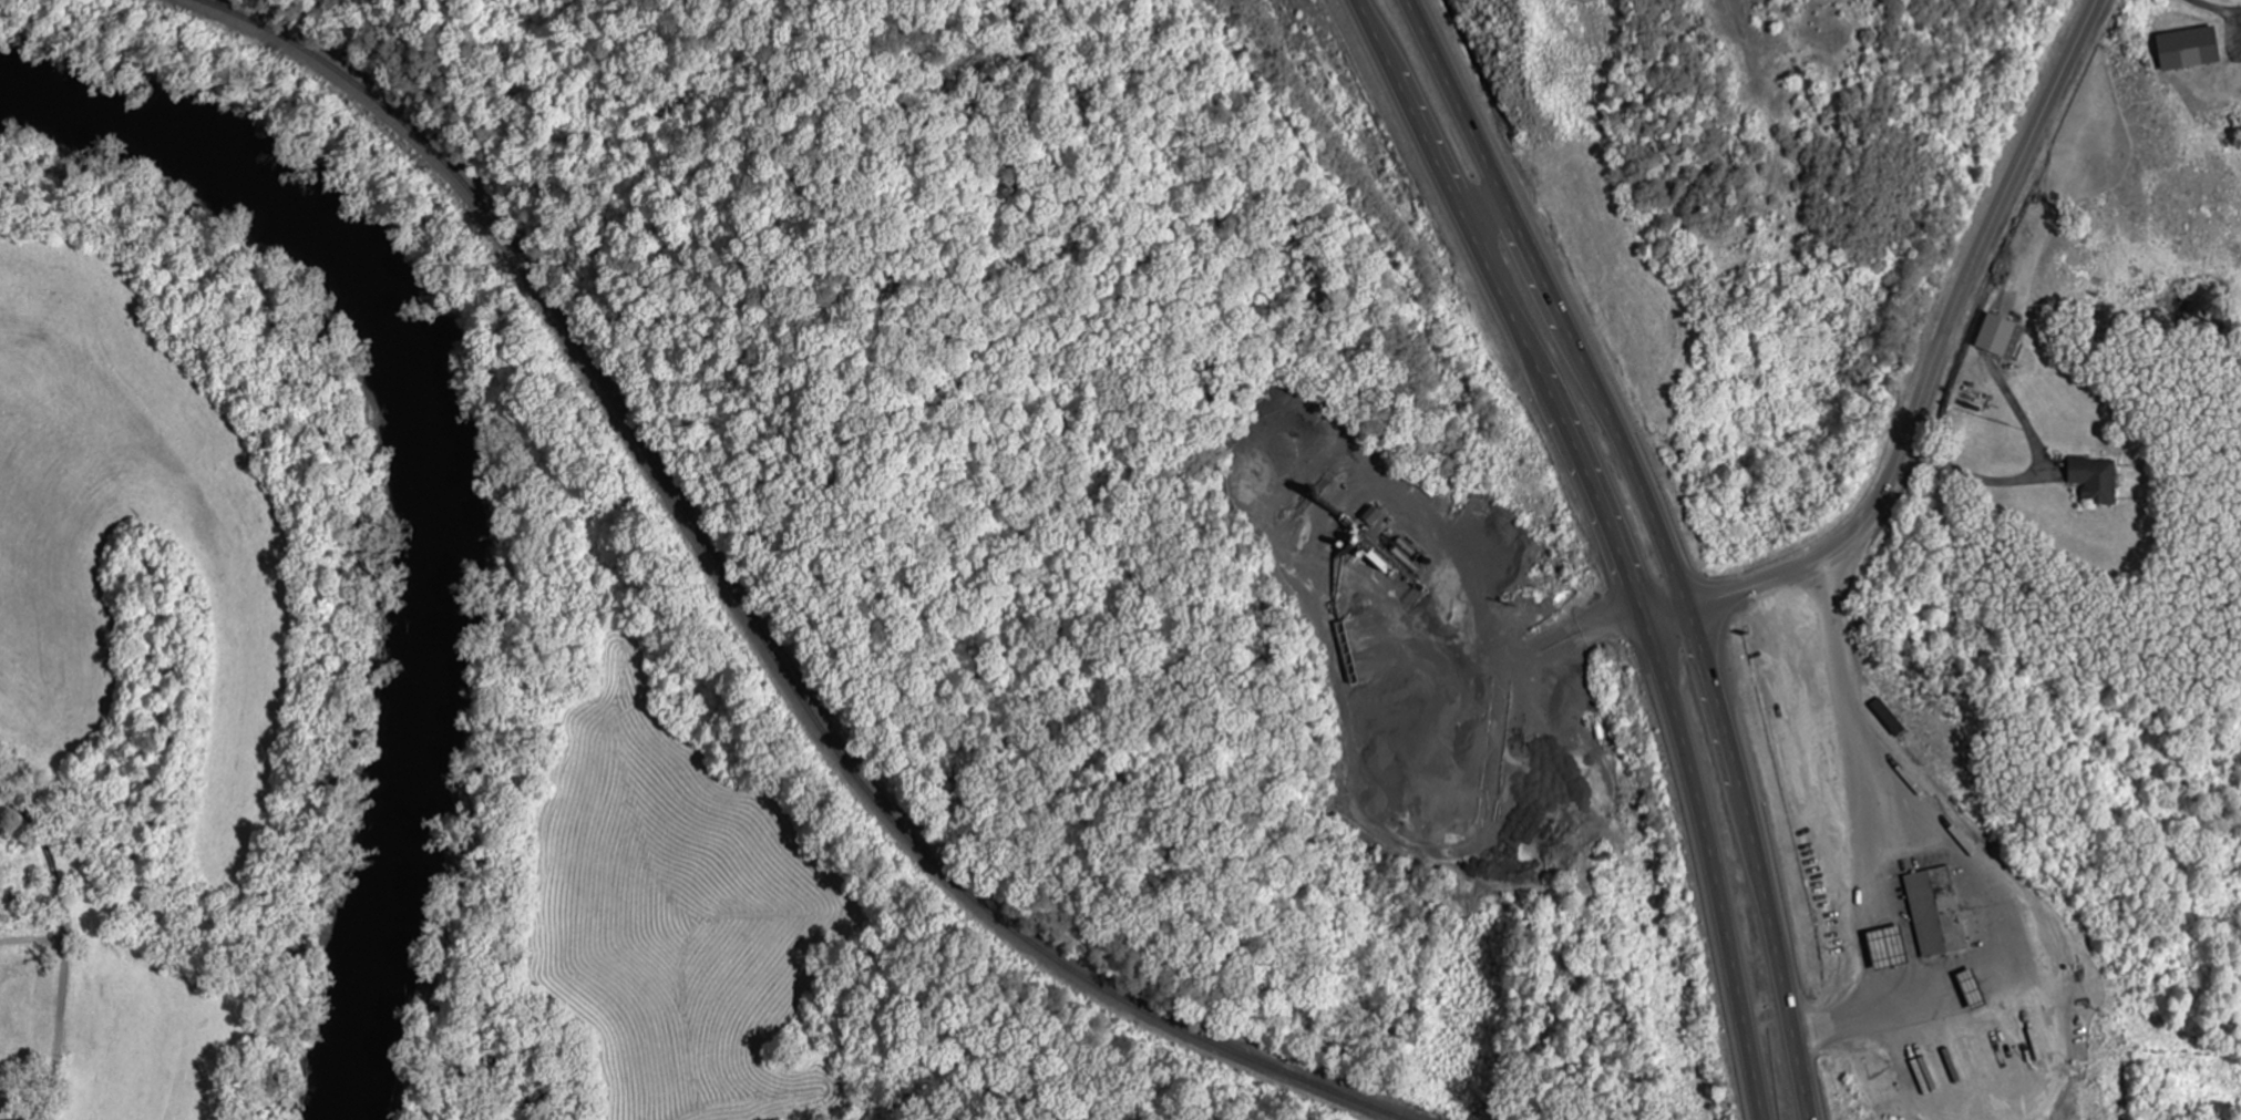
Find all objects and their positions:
building: (2188, 50)
building: (2000, 338)
road: (1930, 374)
building: (2095, 480)
river: (409, 496)
building: (1373, 517)
road: (1612, 540)
road: (1667, 540)
railway: (770, 607)
building: (1936, 913)
road: (64, 955)

